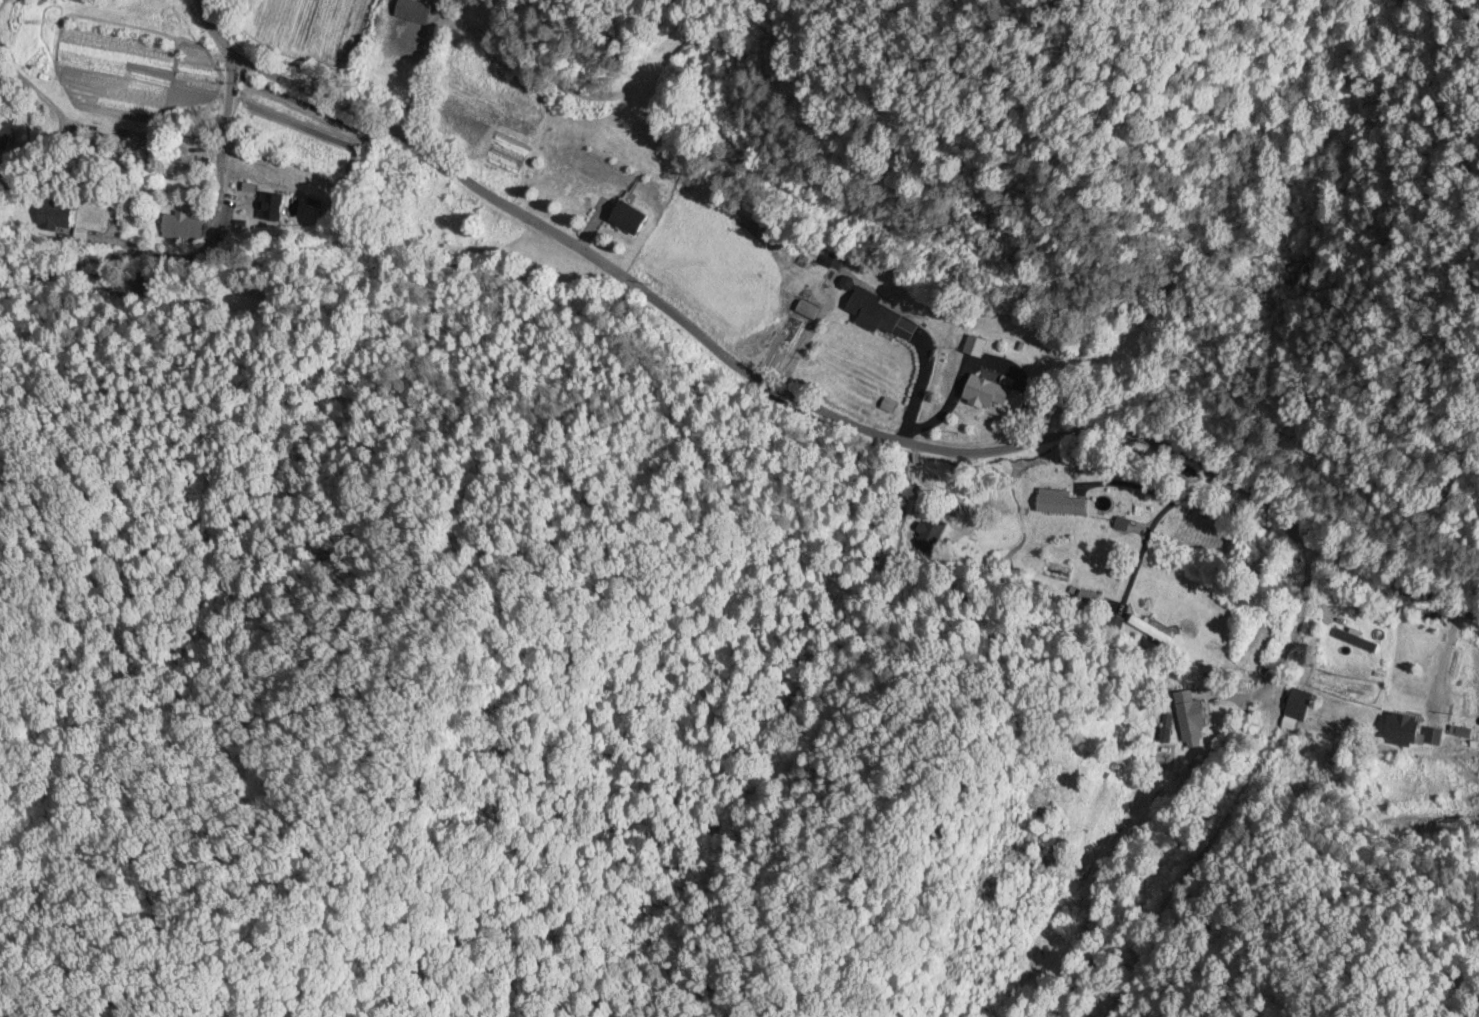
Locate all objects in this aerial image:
road: (210, 225)
road: (781, 422)
road: (1284, 638)
road: (1438, 664)

